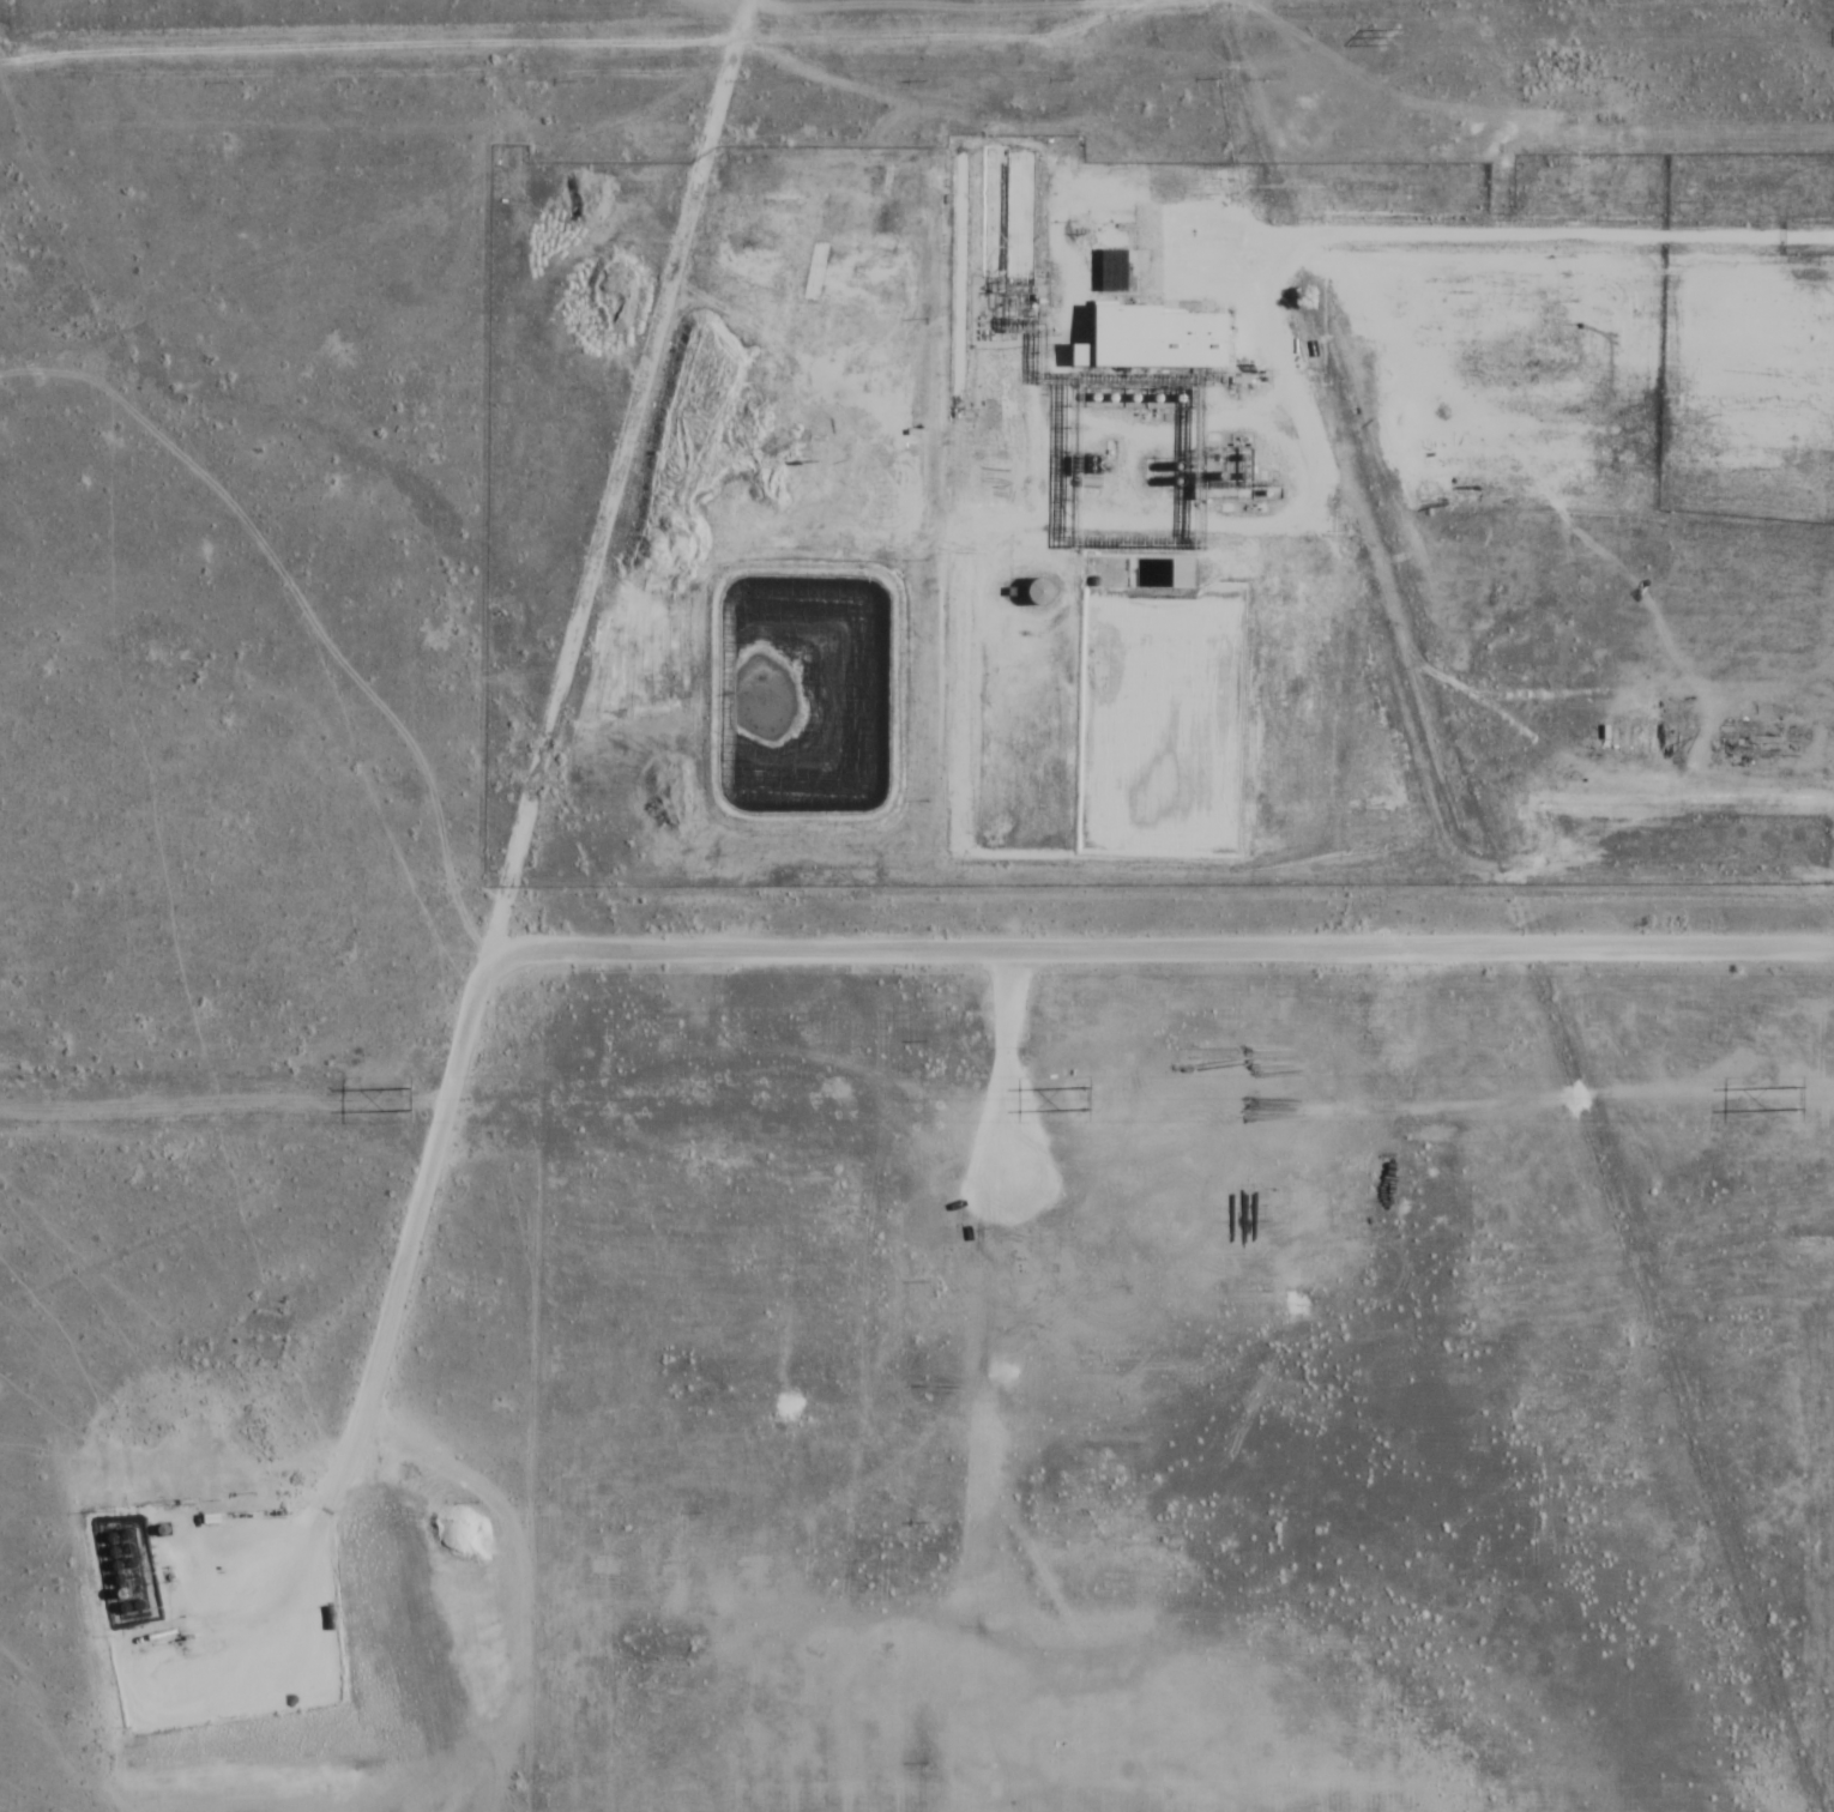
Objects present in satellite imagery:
power tower: (1390, 38)
power tower: (1501, 141)
building: (1151, 339)
road: (765, 953)
power tower: (1786, 1095)
power tower: (402, 1098)
power tower: (1079, 1098)

